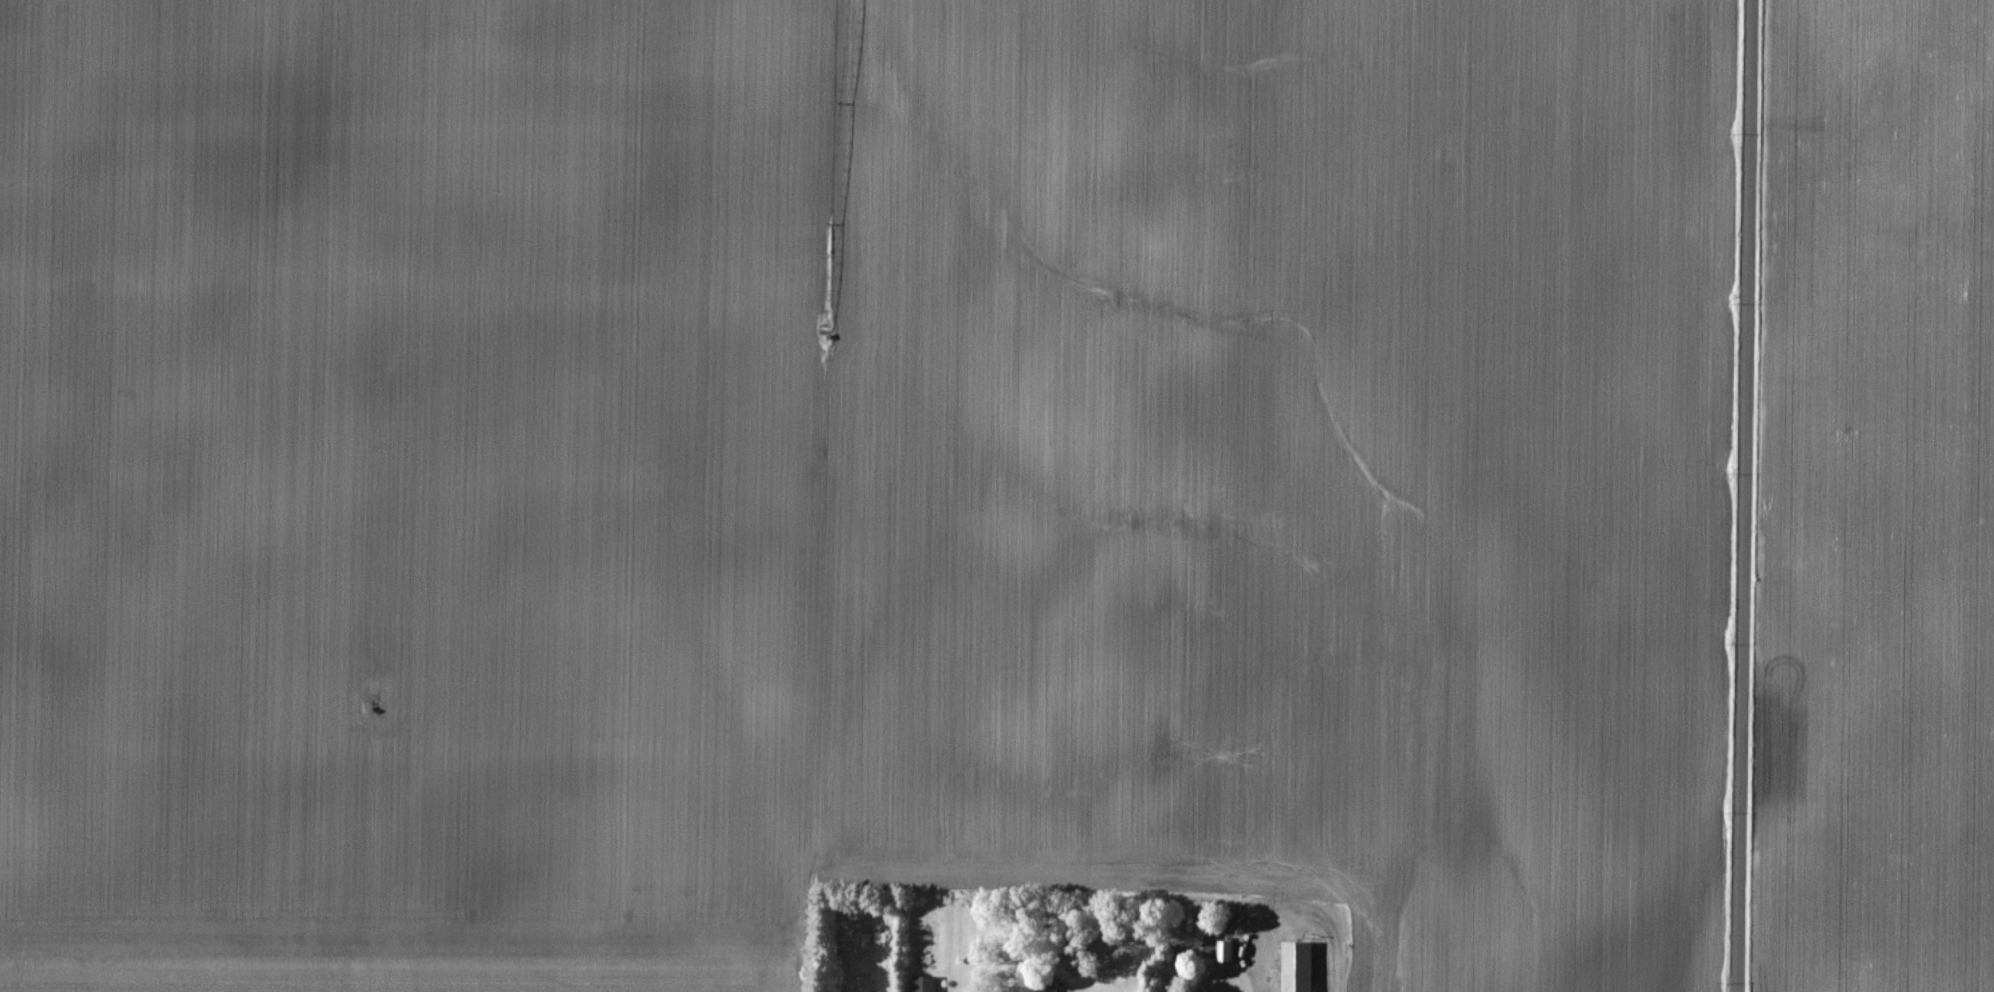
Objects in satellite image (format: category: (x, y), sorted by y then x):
road: (1742, 496)
road: (1298, 915)
building: (1222, 950)
building: (1293, 966)
building: (921, 984)
building: (1045, 987)

